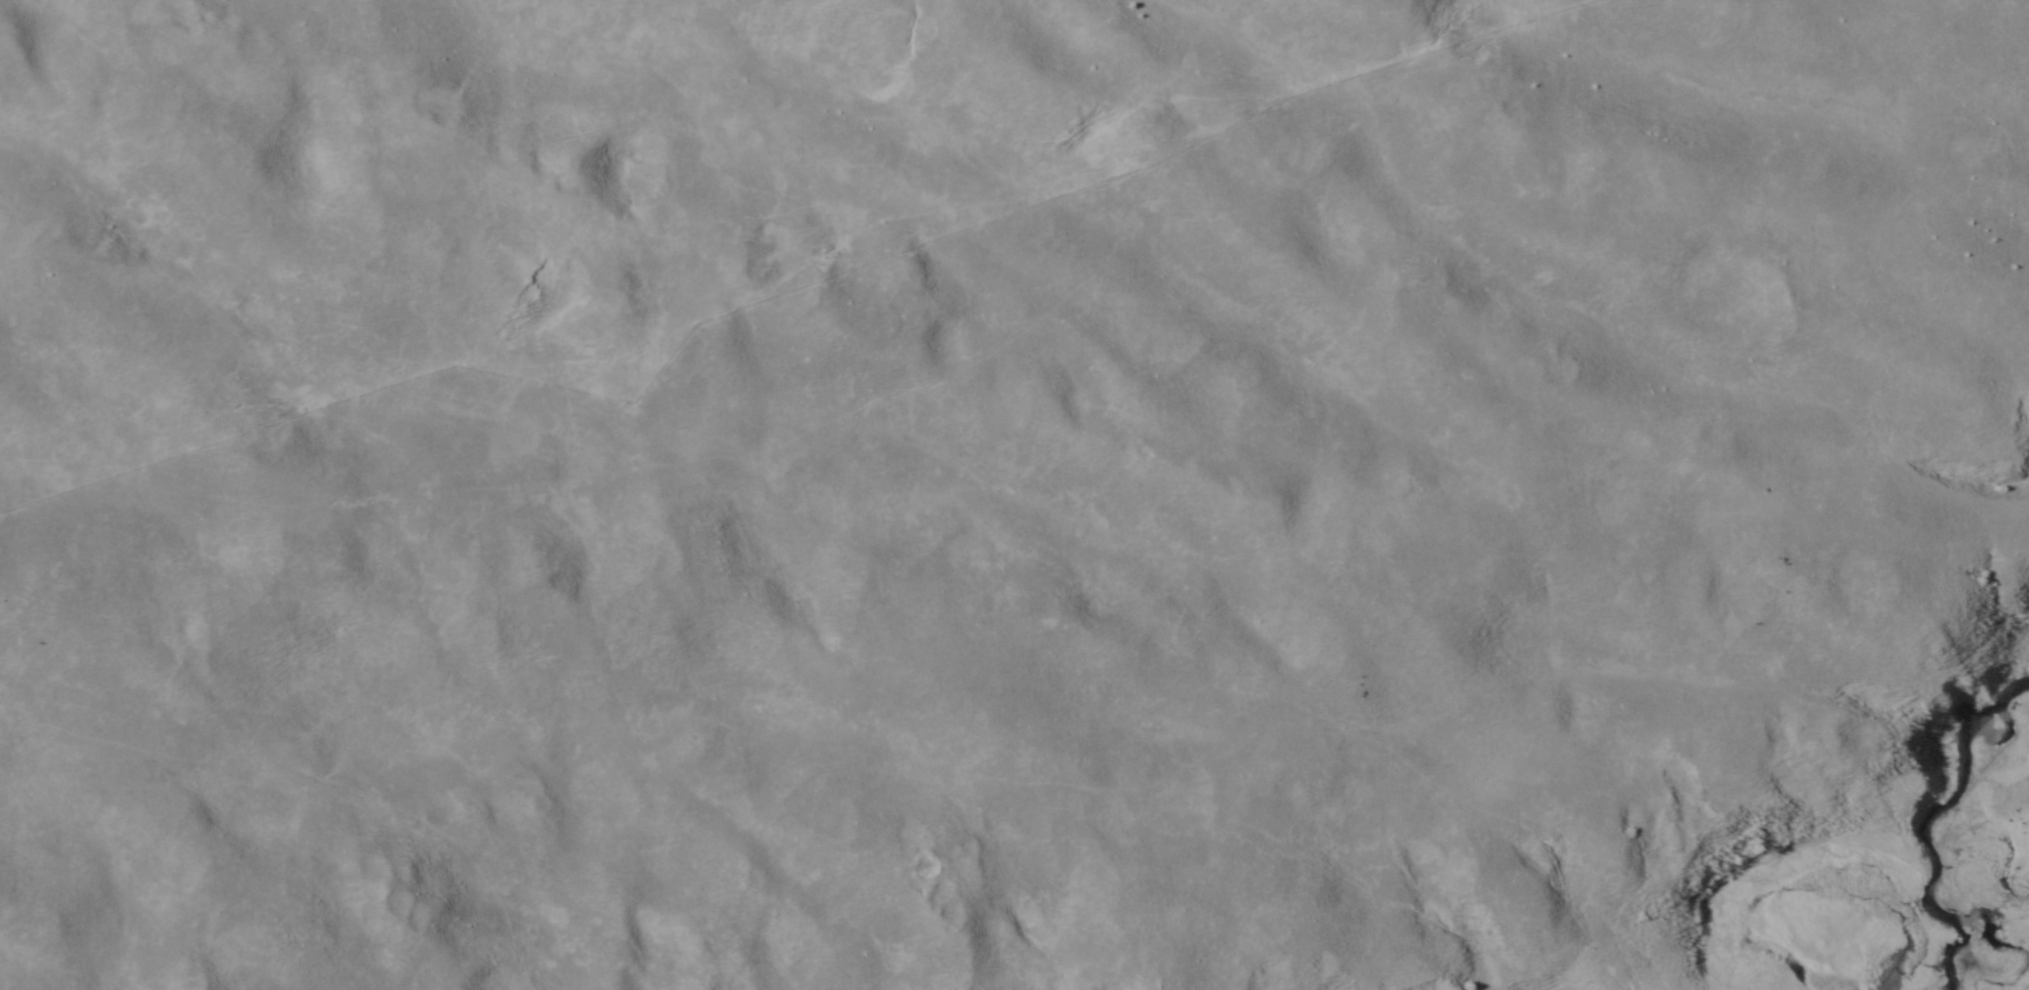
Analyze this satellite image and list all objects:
river: (1977, 744)
river: (1942, 875)

